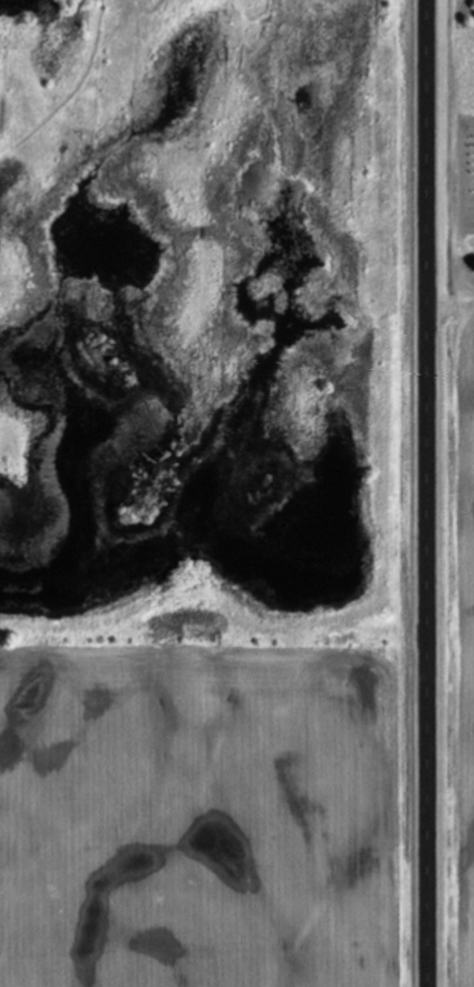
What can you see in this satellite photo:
road: (426, 493)

